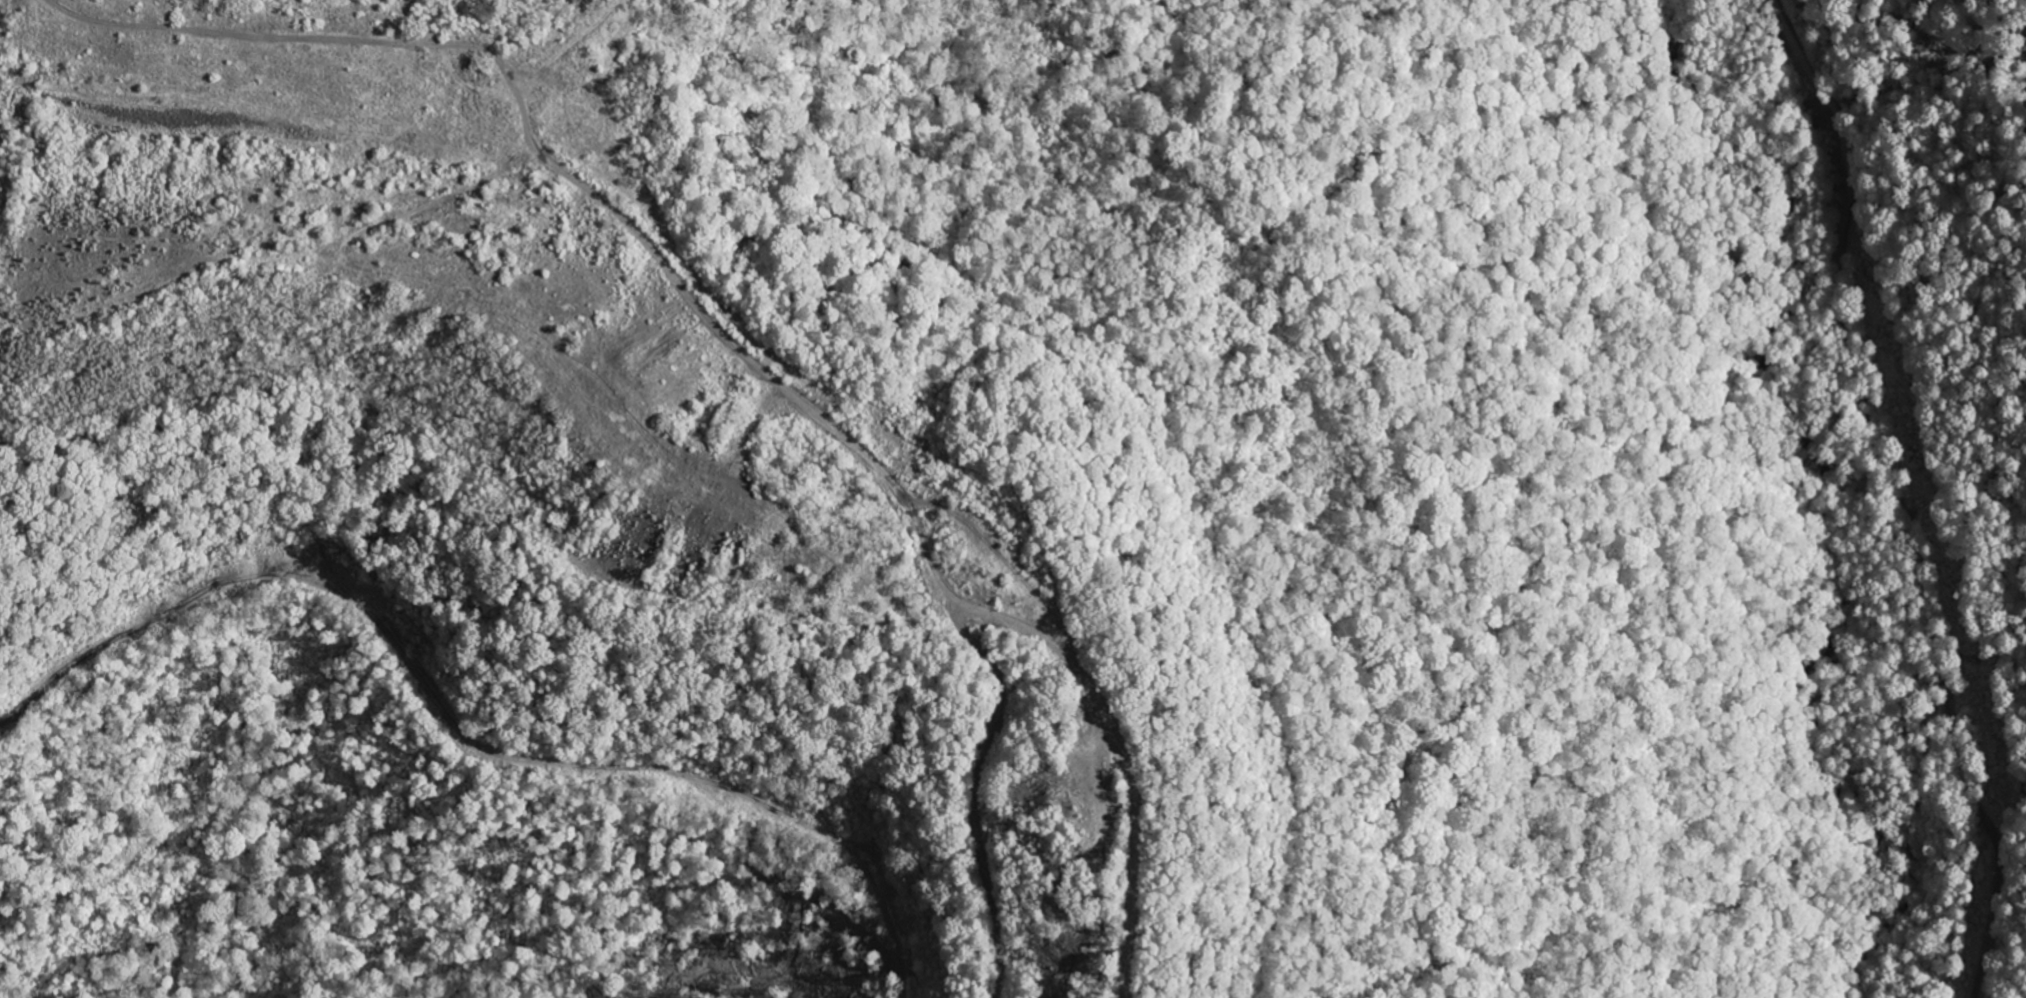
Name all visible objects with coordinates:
road: (1897, 493)

